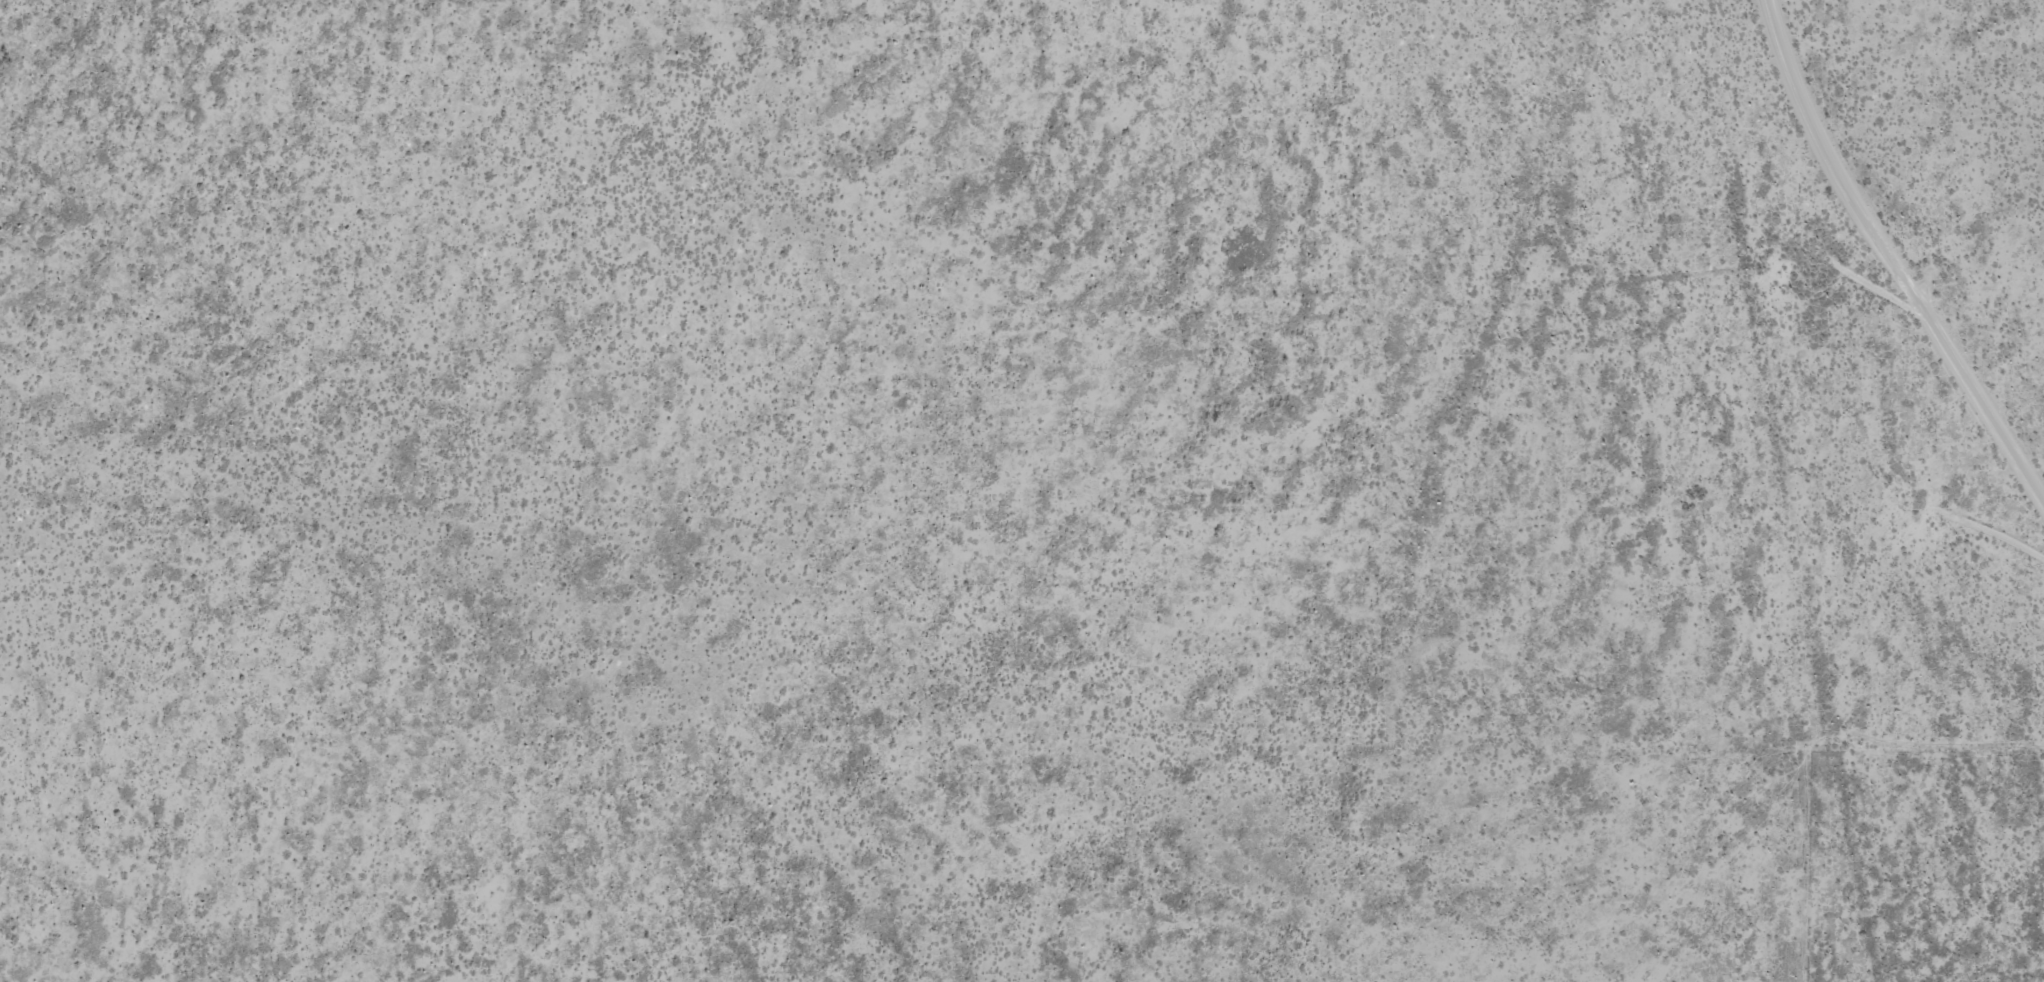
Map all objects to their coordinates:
road: (1882, 269)

